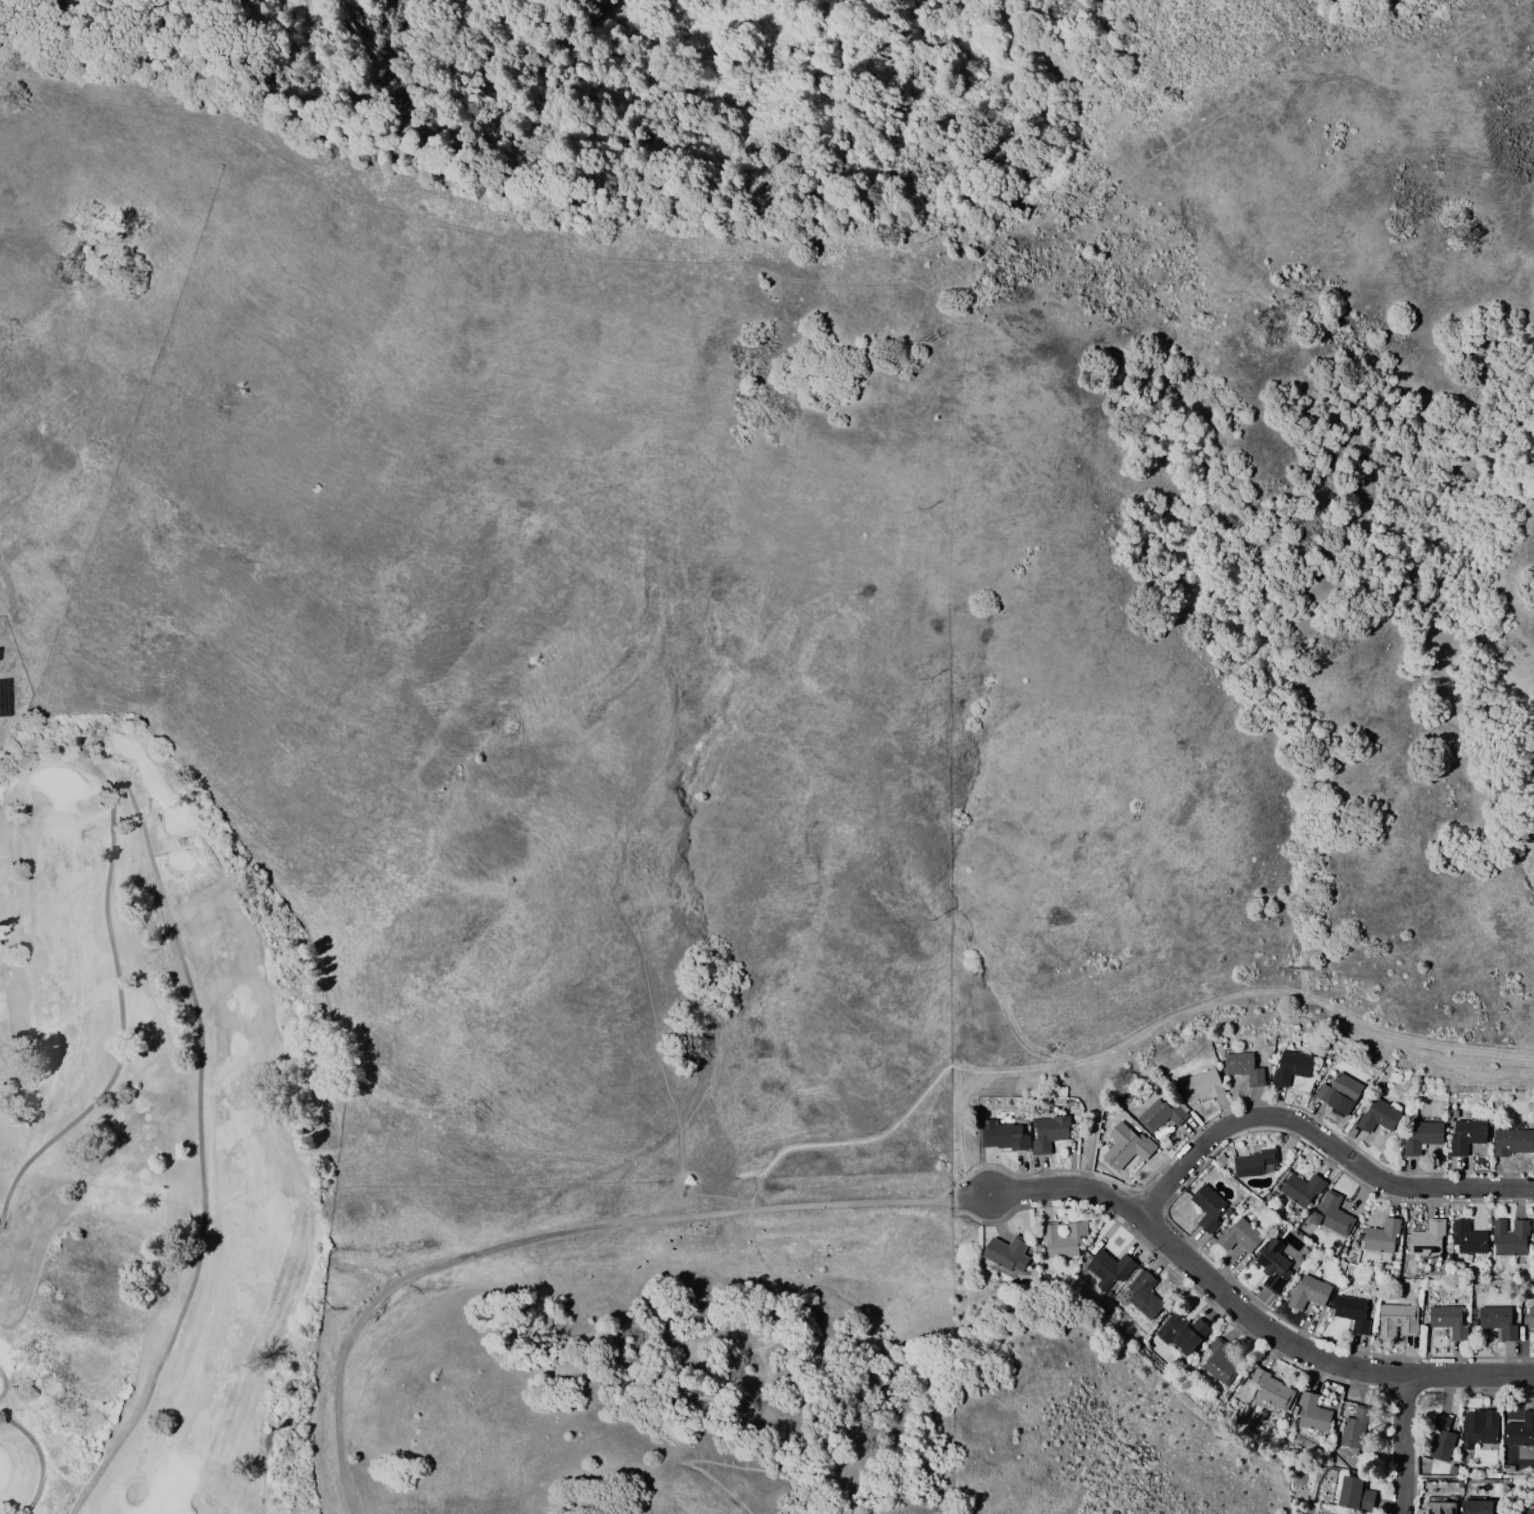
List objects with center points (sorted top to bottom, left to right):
park: (790, 547)
road: (1245, 994)
building: (1242, 1067)
building: (1289, 1067)
building: (1200, 1084)
building: (1339, 1092)
building: (1162, 1113)
building: (1377, 1116)
building: (1047, 1132)
road: (956, 1134)
building: (1002, 1135)
building: (1466, 1135)
road: (1322, 1136)
building: (1421, 1137)
building: (1512, 1139)
road: (854, 1141)
park: (156, 1143)
building: (1127, 1144)
building: (1220, 1159)
building: (1254, 1162)
building: (1300, 1188)
building: (1207, 1207)
building: (1330, 1214)
road: (560, 1234)
building: (1238, 1236)
building: (1381, 1236)
building: (1508, 1237)
building: (1427, 1238)
building: (1467, 1238)
building: (1066, 1239)
building: (1011, 1253)
building: (1272, 1265)
building: (1111, 1270)
building: (1308, 1292)
building: (1146, 1295)
road: (1244, 1311)
building: (1351, 1312)
building: (1529, 1316)
building: (1396, 1320)
building: (1447, 1320)
building: (1497, 1320)
building: (1185, 1331)
building: (1220, 1363)
road: (667, 1368)
building: (1274, 1389)
building: (1315, 1413)
building: (1483, 1424)
building: (1355, 1428)
building: (1521, 1431)
building: (1444, 1440)
road: (1399, 1445)
building: (1451, 1469)
building: (1359, 1493)
building: (1444, 1507)
building: (1481, 1507)
building: (1529, 1512)
building: (1343, 1513)

